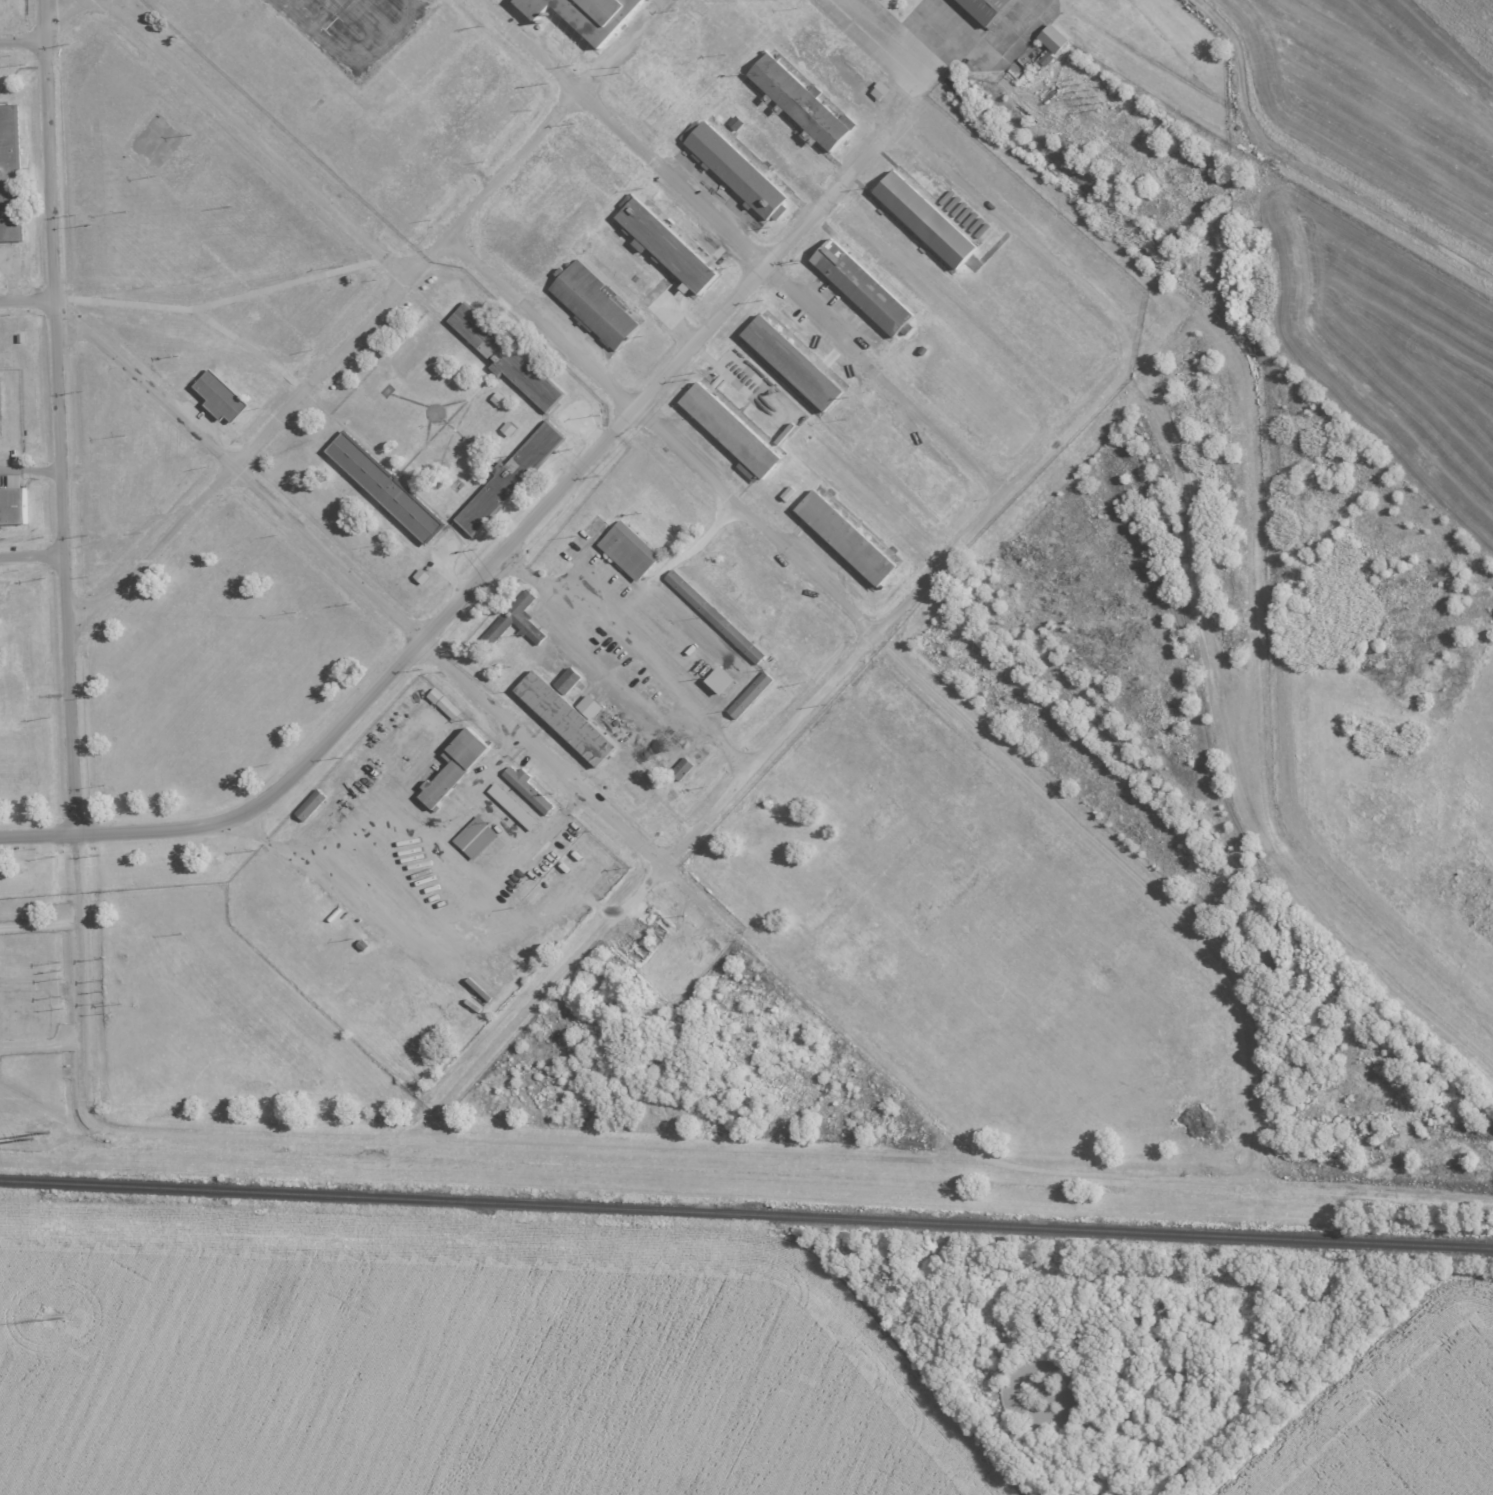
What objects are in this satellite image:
building: (985, 9)
airport hangar: (587, 14)
building: (587, 14)
road: (50, 37)
road: (872, 37)
building: (1053, 39)
road: (954, 42)
road: (529, 45)
building: (883, 89)
building: (800, 103)
road: (257, 137)
road: (50, 148)
road: (1309, 168)
building: (736, 170)
building: (9, 176)
road: (672, 178)
road: (494, 185)
building: (926, 220)
airport: (1376, 222)
road: (1019, 234)
building: (666, 246)
building: (862, 288)
road: (28, 299)
road: (225, 301)
building: (596, 305)
road: (545, 322)
road: (703, 336)
road: (249, 349)
road: (118, 356)
building: (504, 358)
building: (792, 363)
road: (323, 371)
road: (885, 378)
building: (220, 398)
building: (501, 398)
building: (730, 431)
road: (30, 471)
building: (508, 480)
building: (1, 481)
building: (385, 488)
building: (13, 502)
building: (846, 539)
road: (155, 551)
building: (629, 552)
road: (32, 556)
road: (64, 564)
building: (425, 575)
building: (714, 618)
building: (516, 623)
road: (388, 679)
building: (724, 680)
building: (568, 682)
building: (750, 696)
road: (941, 696)
building: (447, 703)
building: (589, 708)
building: (566, 720)
building: (456, 769)
building: (681, 771)
road: (585, 788)
building: (526, 790)
building: (512, 807)
building: (311, 809)
road: (700, 825)
road: (37, 833)
building: (478, 836)
road: (1256, 1080)
power tower: (47, 1131)
power tower: (30, 1138)
road: (649, 1149)
railway: (746, 1213)
road: (1136, 1279)
power tower: (64, 1316)
power tower: (41, 1319)

